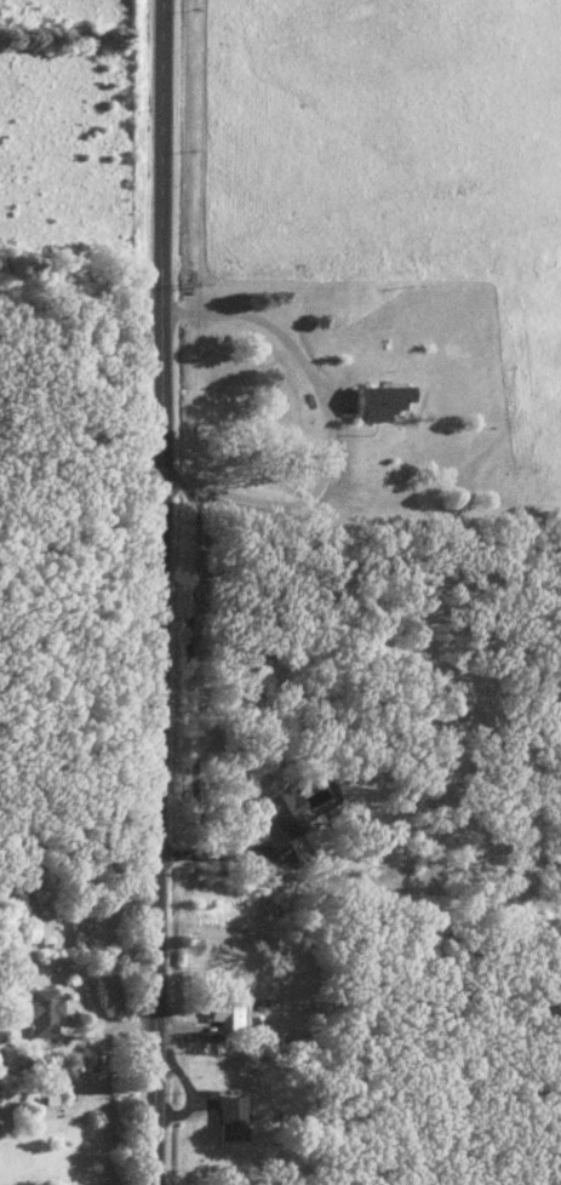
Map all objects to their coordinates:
road: (275, 336)
building: (390, 400)
road: (160, 591)
road: (187, 660)
building: (293, 811)
building: (408, 836)
road: (225, 853)
building: (50, 1011)
building: (235, 1012)
building: (239, 1118)

